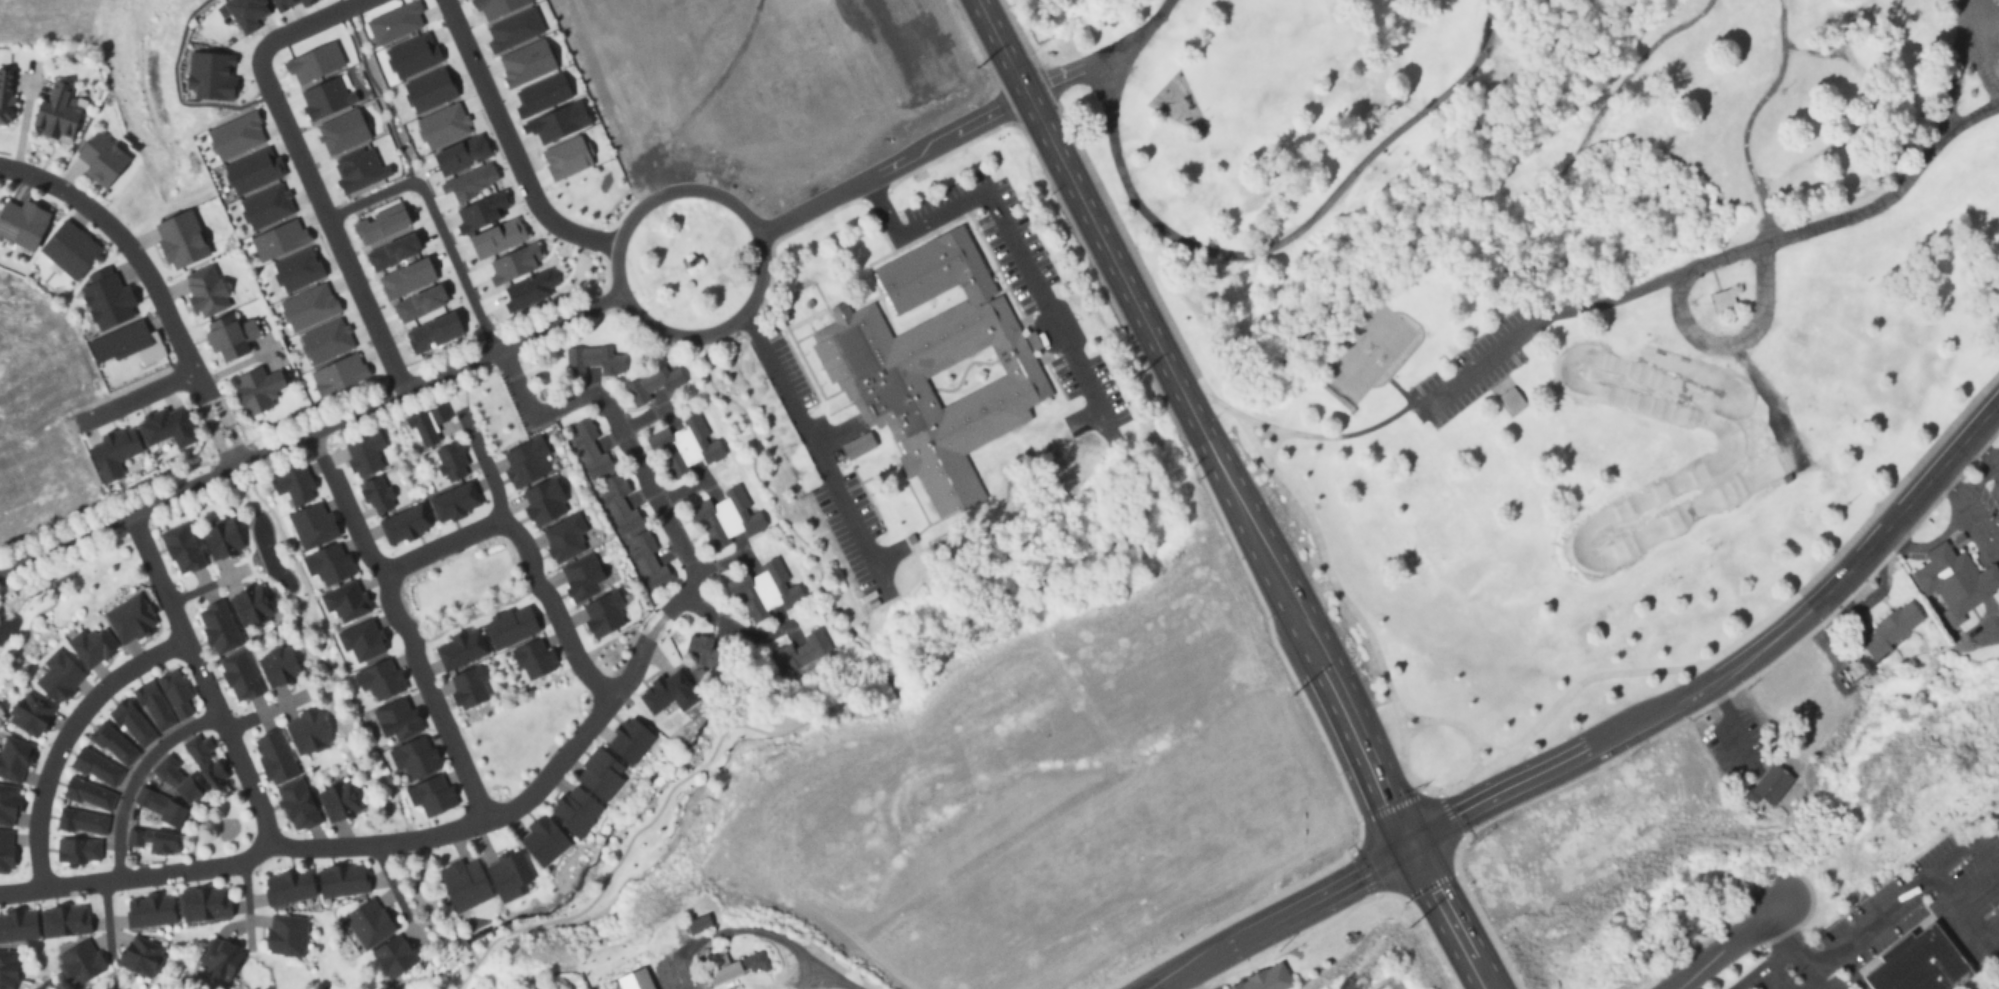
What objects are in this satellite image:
road: (1516, 43)
road: (1007, 46)
road: (1967, 52)
power tower: (975, 66)
road: (1078, 66)
road: (1953, 91)
building: (6, 95)
building: (57, 113)
road: (512, 143)
building: (101, 160)
road: (894, 163)
road: (308, 170)
road: (1406, 203)
building: (22, 223)
building: (181, 240)
road: (1009, 243)
building: (69, 249)
road: (1253, 251)
road: (1715, 261)
road: (1189, 275)
road: (151, 285)
building: (206, 291)
road: (623, 295)
building: (1722, 300)
park: (1544, 322)
building: (230, 337)
road: (1733, 344)
park: (1367, 353)
building: (578, 358)
building: (607, 360)
building: (933, 367)
parking lot: (1476, 367)
power tower: (1139, 376)
building: (664, 378)
road: (151, 390)
building: (258, 390)
building: (638, 391)
building: (1511, 401)
road: (1415, 402)
road: (1250, 416)
road: (638, 419)
building: (695, 427)
road: (310, 432)
building: (583, 436)
building: (662, 442)
building: (858, 446)
building: (709, 450)
road: (813, 453)
road: (1984, 453)
building: (595, 464)
track: (1712, 465)
building: (675, 466)
road: (1221, 470)
building: (293, 484)
road: (678, 491)
building: (613, 492)
building: (735, 498)
road: (1970, 510)
building: (703, 513)
building: (625, 520)
building: (749, 521)
building: (716, 536)
building: (221, 540)
road: (1935, 540)
road: (444, 546)
building: (183, 548)
building: (642, 548)
road: (529, 559)
road: (716, 563)
building: (774, 570)
building: (654, 575)
building: (1955, 582)
building: (741, 585)
building: (788, 594)
building: (251, 605)
building: (754, 609)
building: (129, 618)
road: (400, 623)
building: (219, 628)
road: (731, 628)
building: (1891, 631)
building: (814, 644)
building: (92, 647)
building: (703, 650)
building: (788, 656)
road: (1736, 661)
building: (278, 666)
building: (240, 675)
building: (58, 676)
road: (203, 680)
building: (175, 693)
building: (153, 704)
building: (30, 714)
road: (830, 715)
road: (258, 717)
building: (133, 722)
road: (1722, 726)
building: (307, 731)
road: (66, 734)
road: (1380, 736)
power tower: (1323, 739)
building: (112, 742)
building: (13, 758)
building: (274, 759)
building: (203, 760)
road: (561, 762)
building: (95, 765)
road: (135, 775)
building: (177, 779)
building: (1772, 783)
building: (87, 793)
building: (339, 801)
building: (8, 803)
building: (297, 805)
building: (160, 807)
road: (1419, 815)
building: (81, 820)
road: (1426, 835)
road: (1967, 838)
building: (153, 841)
traffic signals: (1412, 847)
building: (77, 850)
building: (5, 852)
road: (1384, 856)
power tower: (1399, 879)
building: (341, 881)
building: (290, 887)
road: (1391, 892)
building: (202, 902)
road: (245, 902)
building: (149, 910)
road: (1963, 911)
road: (1243, 915)
road: (106, 916)
road: (1282, 918)
road: (1447, 918)
building: (64, 922)
building: (369, 923)
building: (698, 924)
building: (17, 926)
road: (772, 933)
building: (287, 935)
road: (1841, 940)
road: (1729, 944)
building: (141, 956)
building: (393, 957)
building: (220, 959)
building: (79, 963)
building: (1918, 964)
building: (733, 965)
road: (1761, 968)
building: (7, 969)
building: (1266, 979)
road: (1812, 979)
building: (636, 980)
road: (1189, 980)

